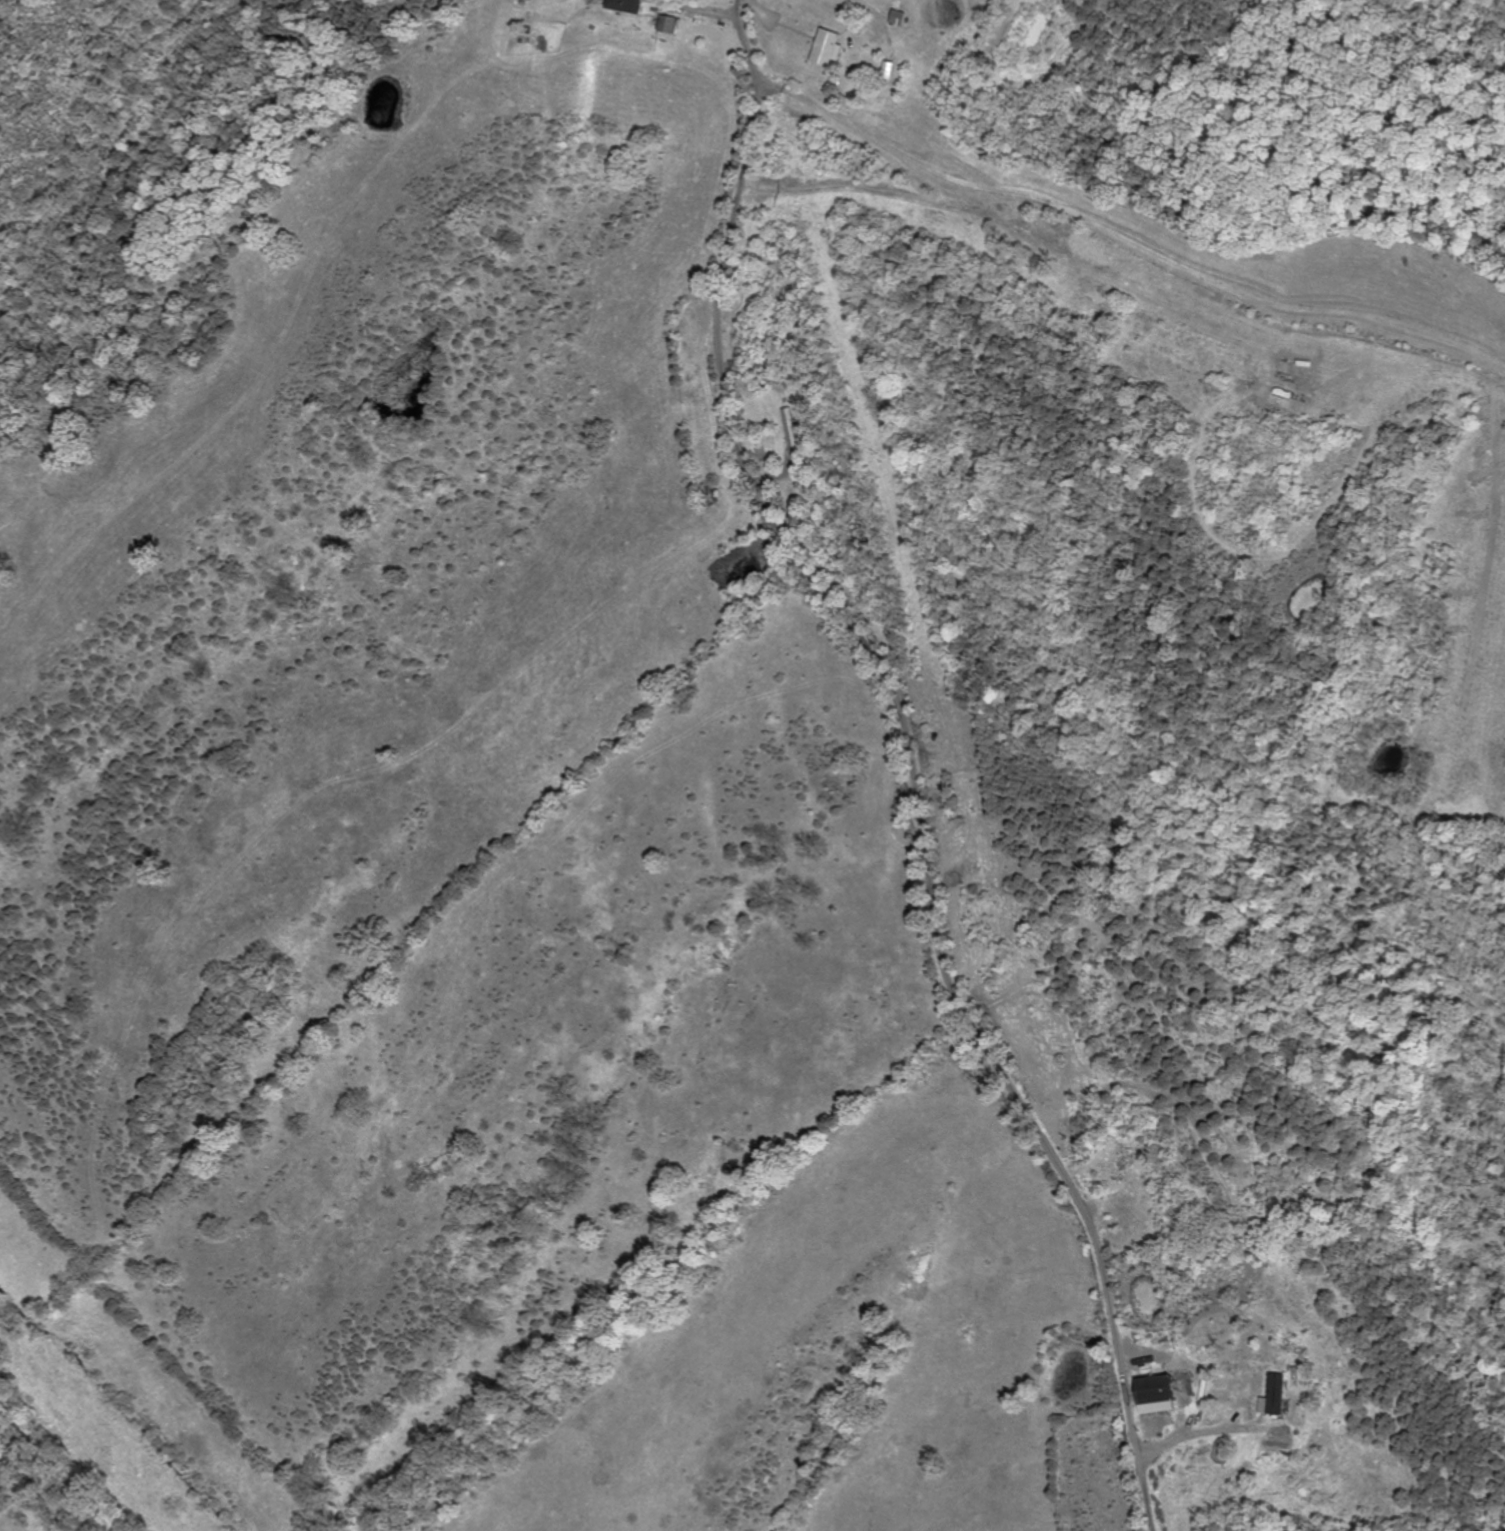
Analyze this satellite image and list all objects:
building: (665, 25)
building: (826, 49)
road: (1131, 234)
road: (915, 760)
building: (1156, 1395)
building: (1276, 1395)

